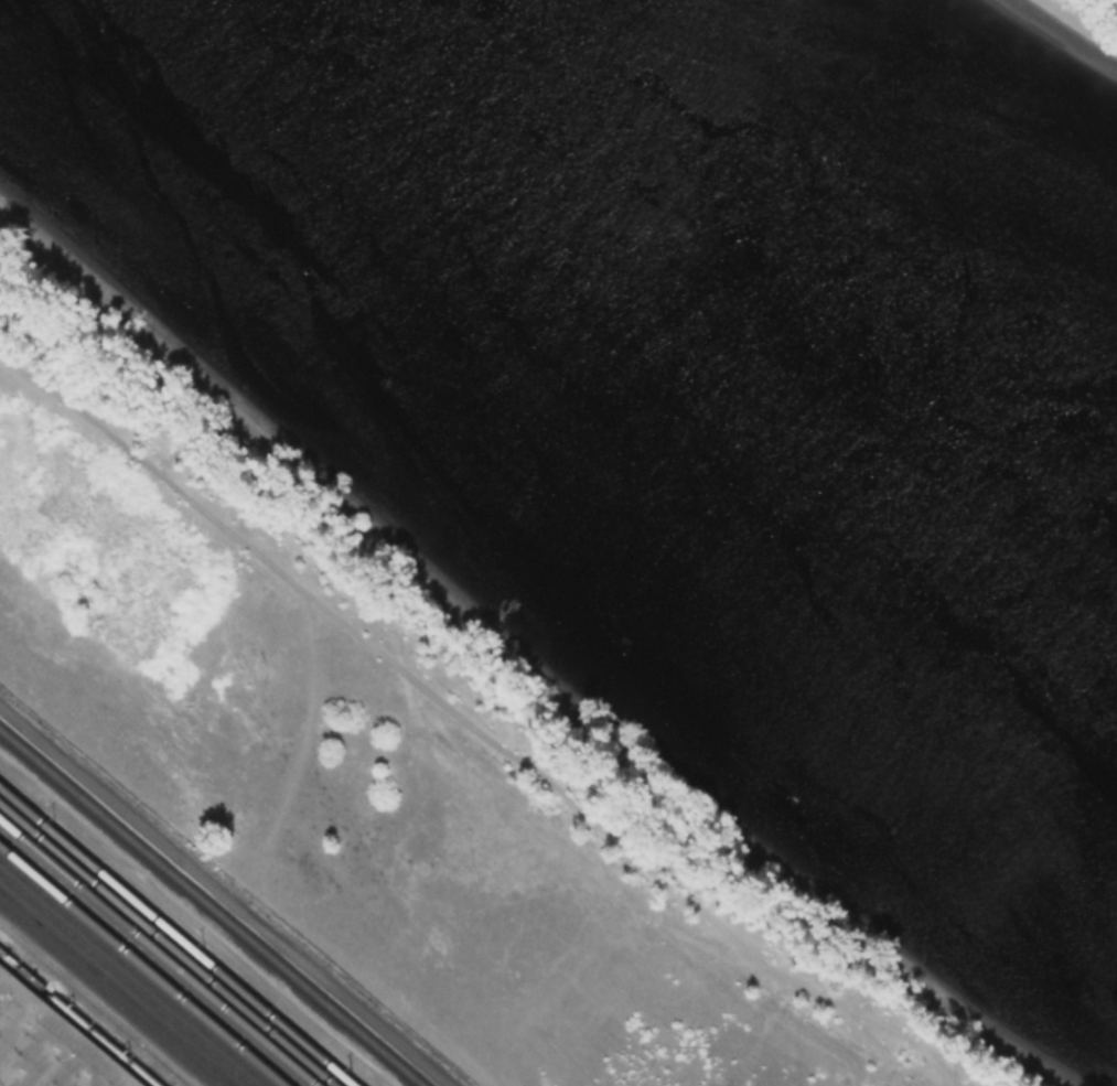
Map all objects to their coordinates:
river: (752, 288)
railway: (210, 908)
railway: (176, 936)
railway: (168, 945)
railway: (158, 953)
railway: (142, 966)
railway: (135, 972)
railway: (123, 981)
railway: (115, 989)
railway: (104, 997)
road: (96, 1002)
railway: (77, 1020)
building: (47, 1046)

